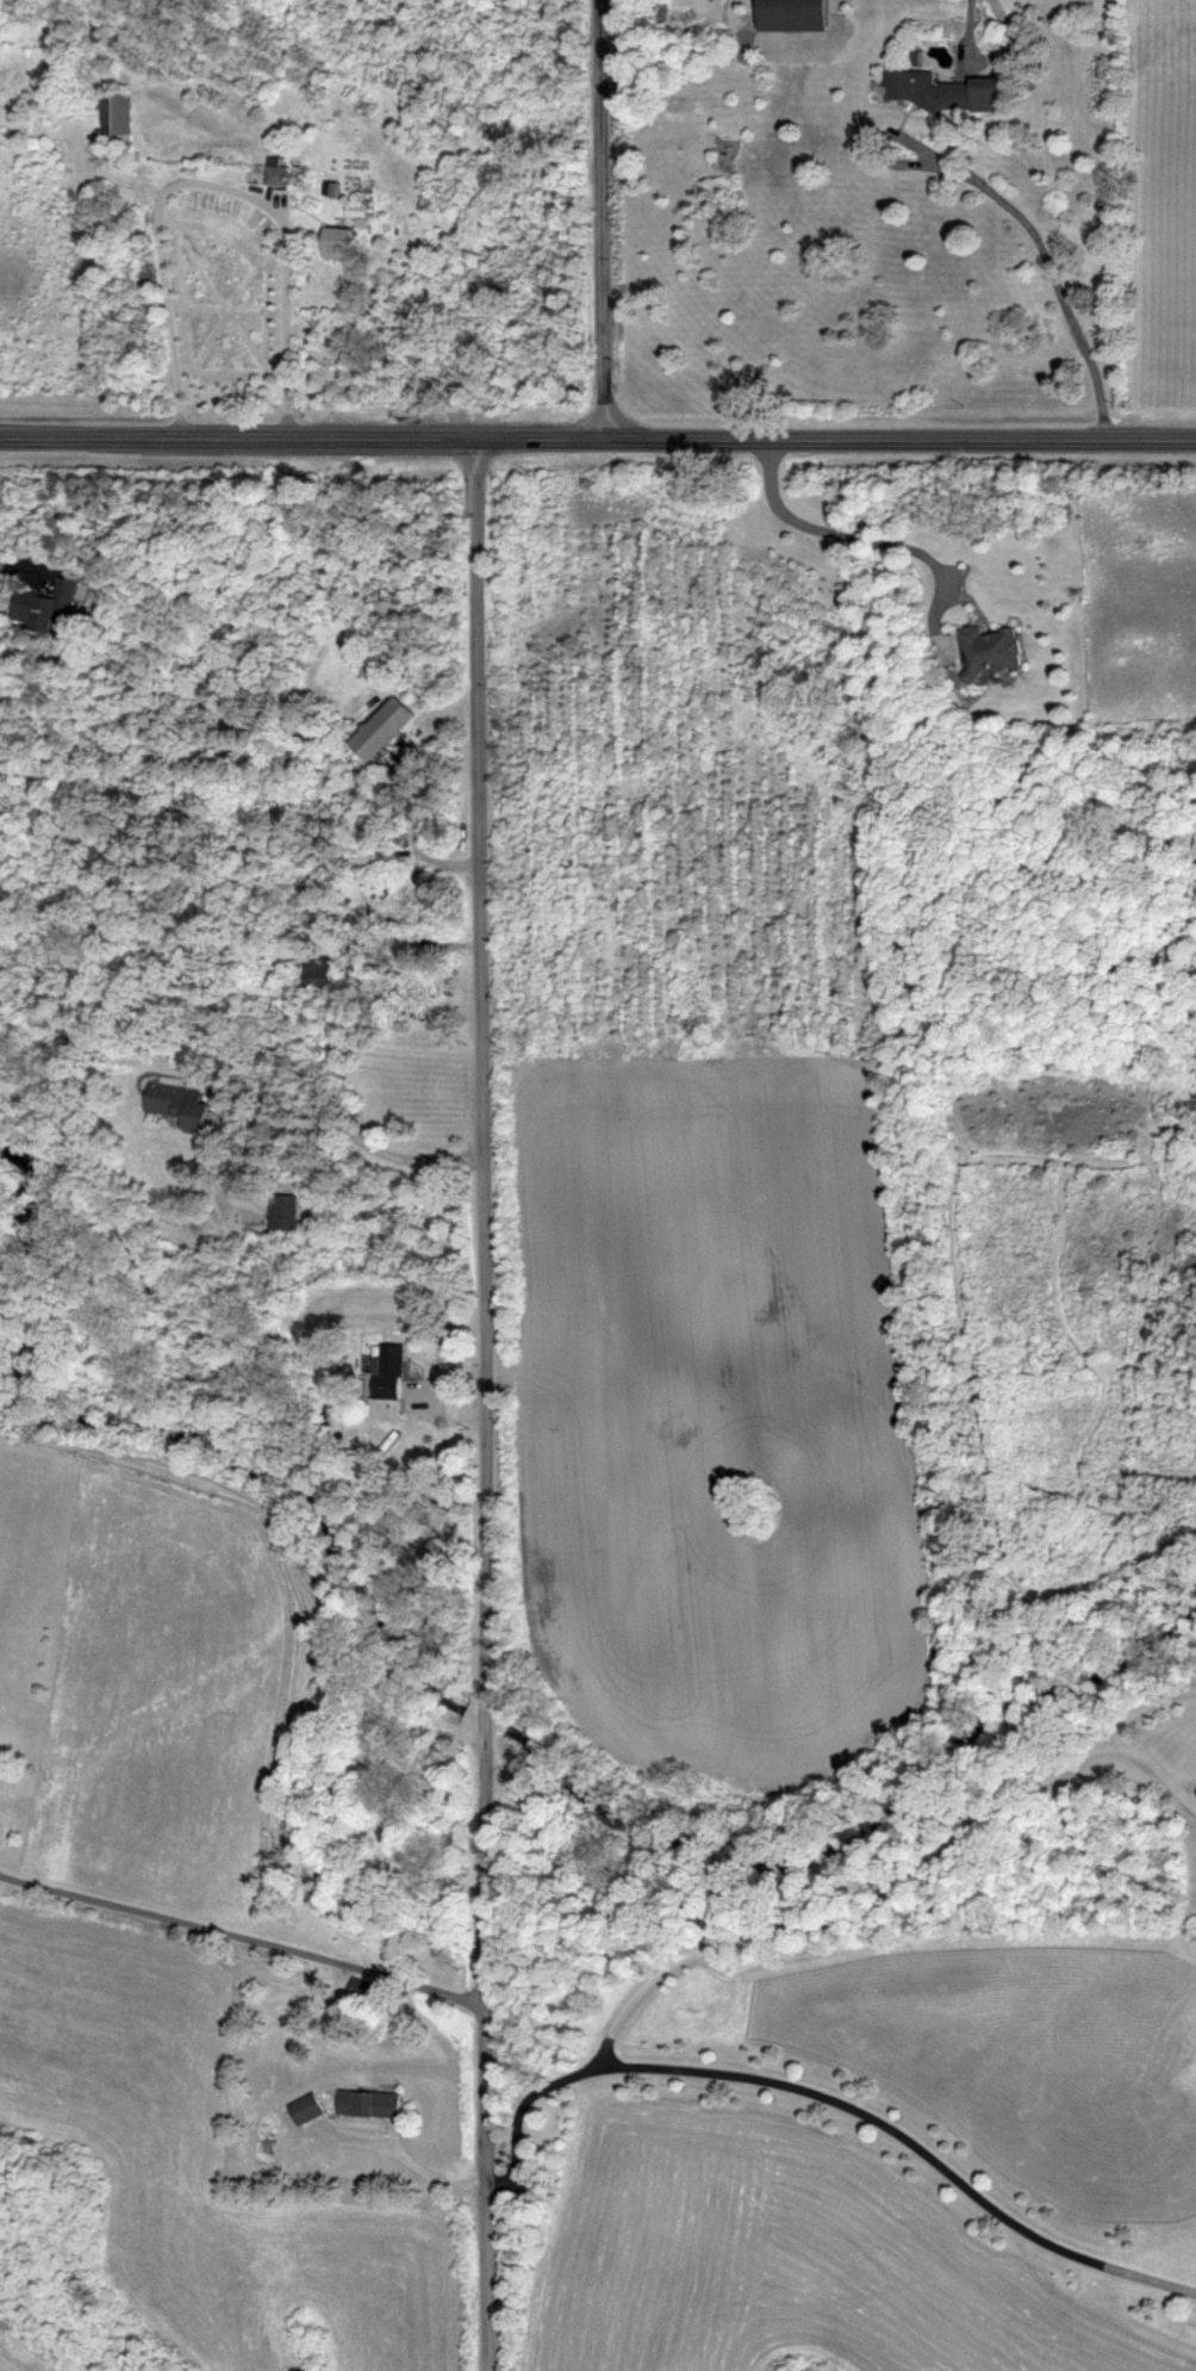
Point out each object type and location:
building: (710, 0)
road: (972, 23)
building: (94, 29)
building: (939, 91)
building: (113, 113)
building: (274, 168)
road: (210, 182)
building: (355, 209)
road: (603, 218)
building: (336, 241)
road: (1046, 263)
road: (597, 436)
road: (830, 533)
building: (44, 601)
building: (988, 650)
building: (380, 727)
building: (175, 1101)
road: (359, 1135)
building: (282, 1211)
building: (386, 1371)
road: (486, 1403)
road: (814, 1932)
road: (244, 1936)
building: (372, 2103)
building: (309, 2108)
road: (909, 2141)
road: (435, 2177)

